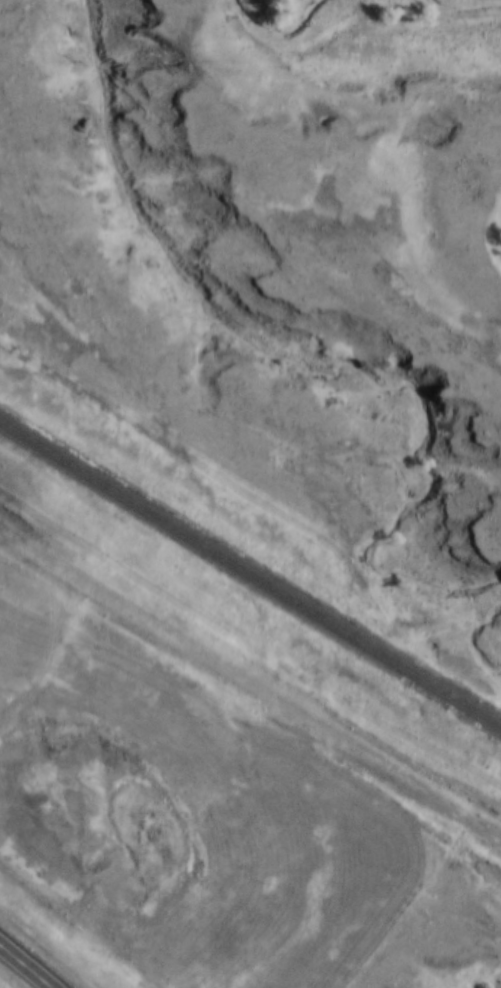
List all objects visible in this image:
railway: (250, 574)
road: (250, 685)
road: (19, 971)

